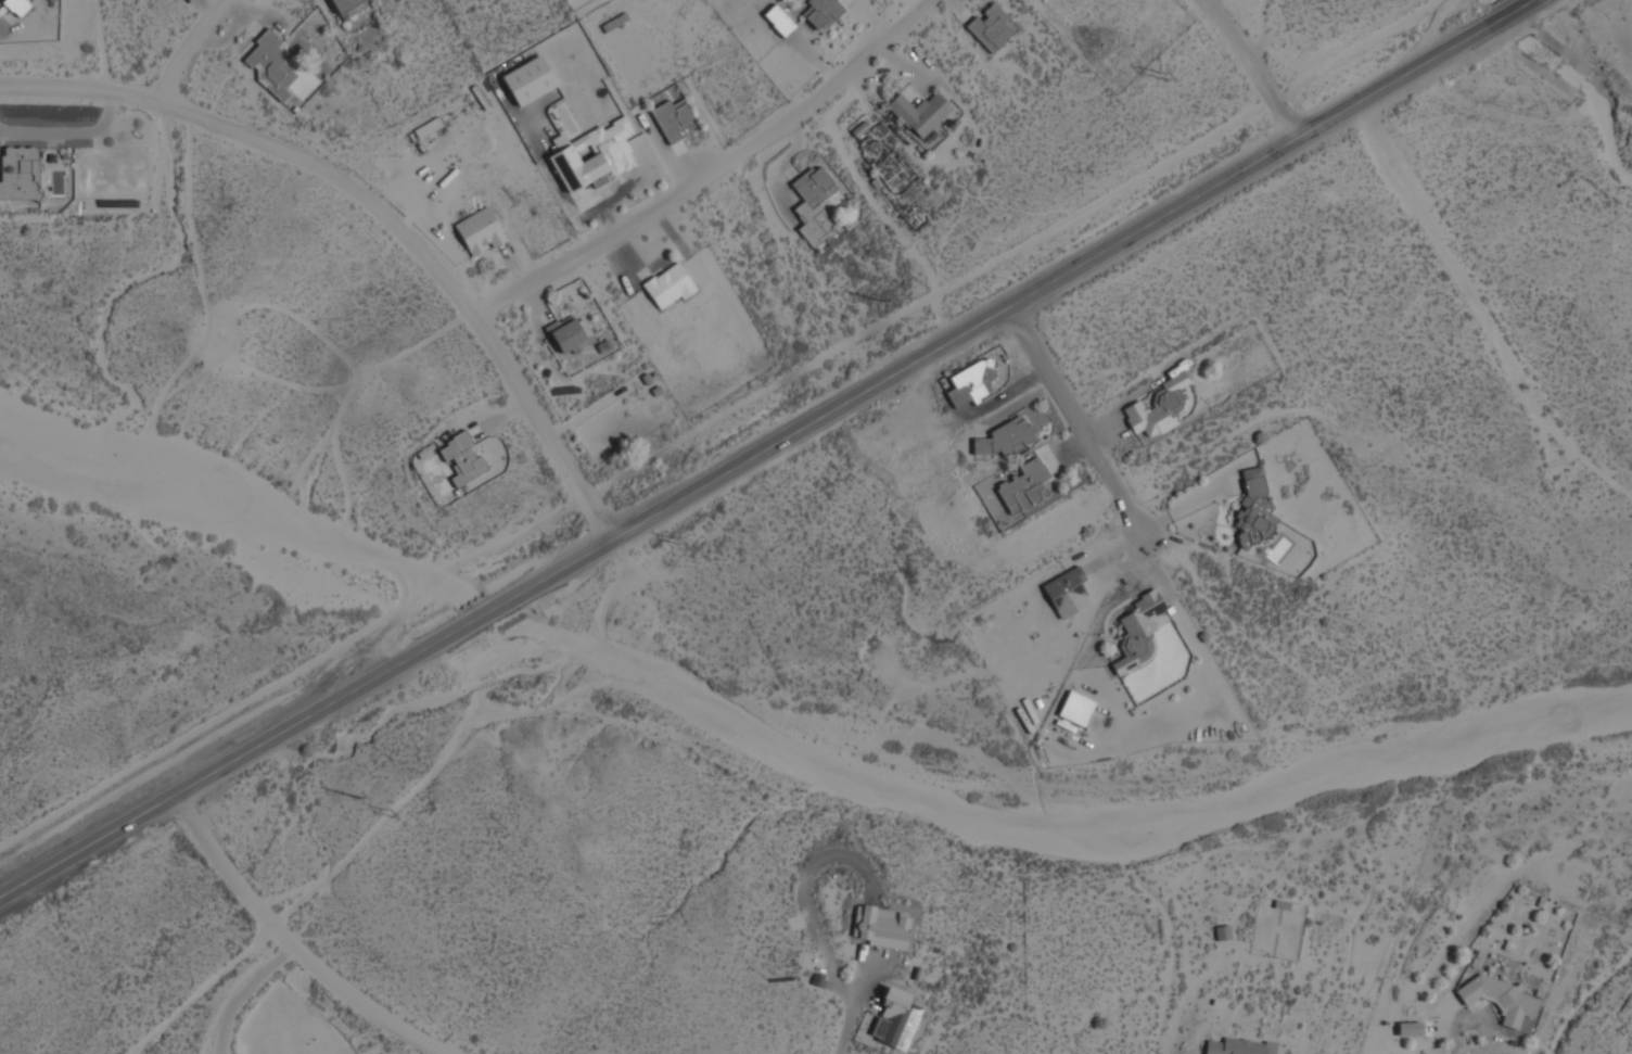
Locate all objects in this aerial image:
building: (344, 4)
building: (16, 7)
building: (820, 12)
building: (778, 21)
building: (614, 23)
building: (991, 28)
building: (269, 65)
road: (1250, 65)
power tower: (1162, 76)
building: (528, 80)
road: (161, 93)
building: (919, 113)
building: (671, 119)
building: (428, 128)
building: (591, 155)
road: (710, 170)
building: (17, 175)
building: (812, 202)
road: (377, 209)
building: (480, 231)
road: (1071, 275)
building: (668, 287)
power tower: (874, 294)
building: (565, 334)
building: (1174, 381)
building: (970, 383)
road: (1079, 419)
building: (1147, 419)
building: (1004, 439)
building: (461, 459)
building: (1023, 486)
building: (1252, 510)
power tower: (674, 544)
building: (1135, 626)
building: (1081, 712)
road: (310, 727)
power tower: (356, 798)
power tower: (390, 815)
building: (1222, 934)
road: (303, 949)
building: (1499, 999)
road: (850, 1005)
building: (895, 1021)
building: (1411, 1029)
building: (1237, 1046)
road: (1465, 1046)

